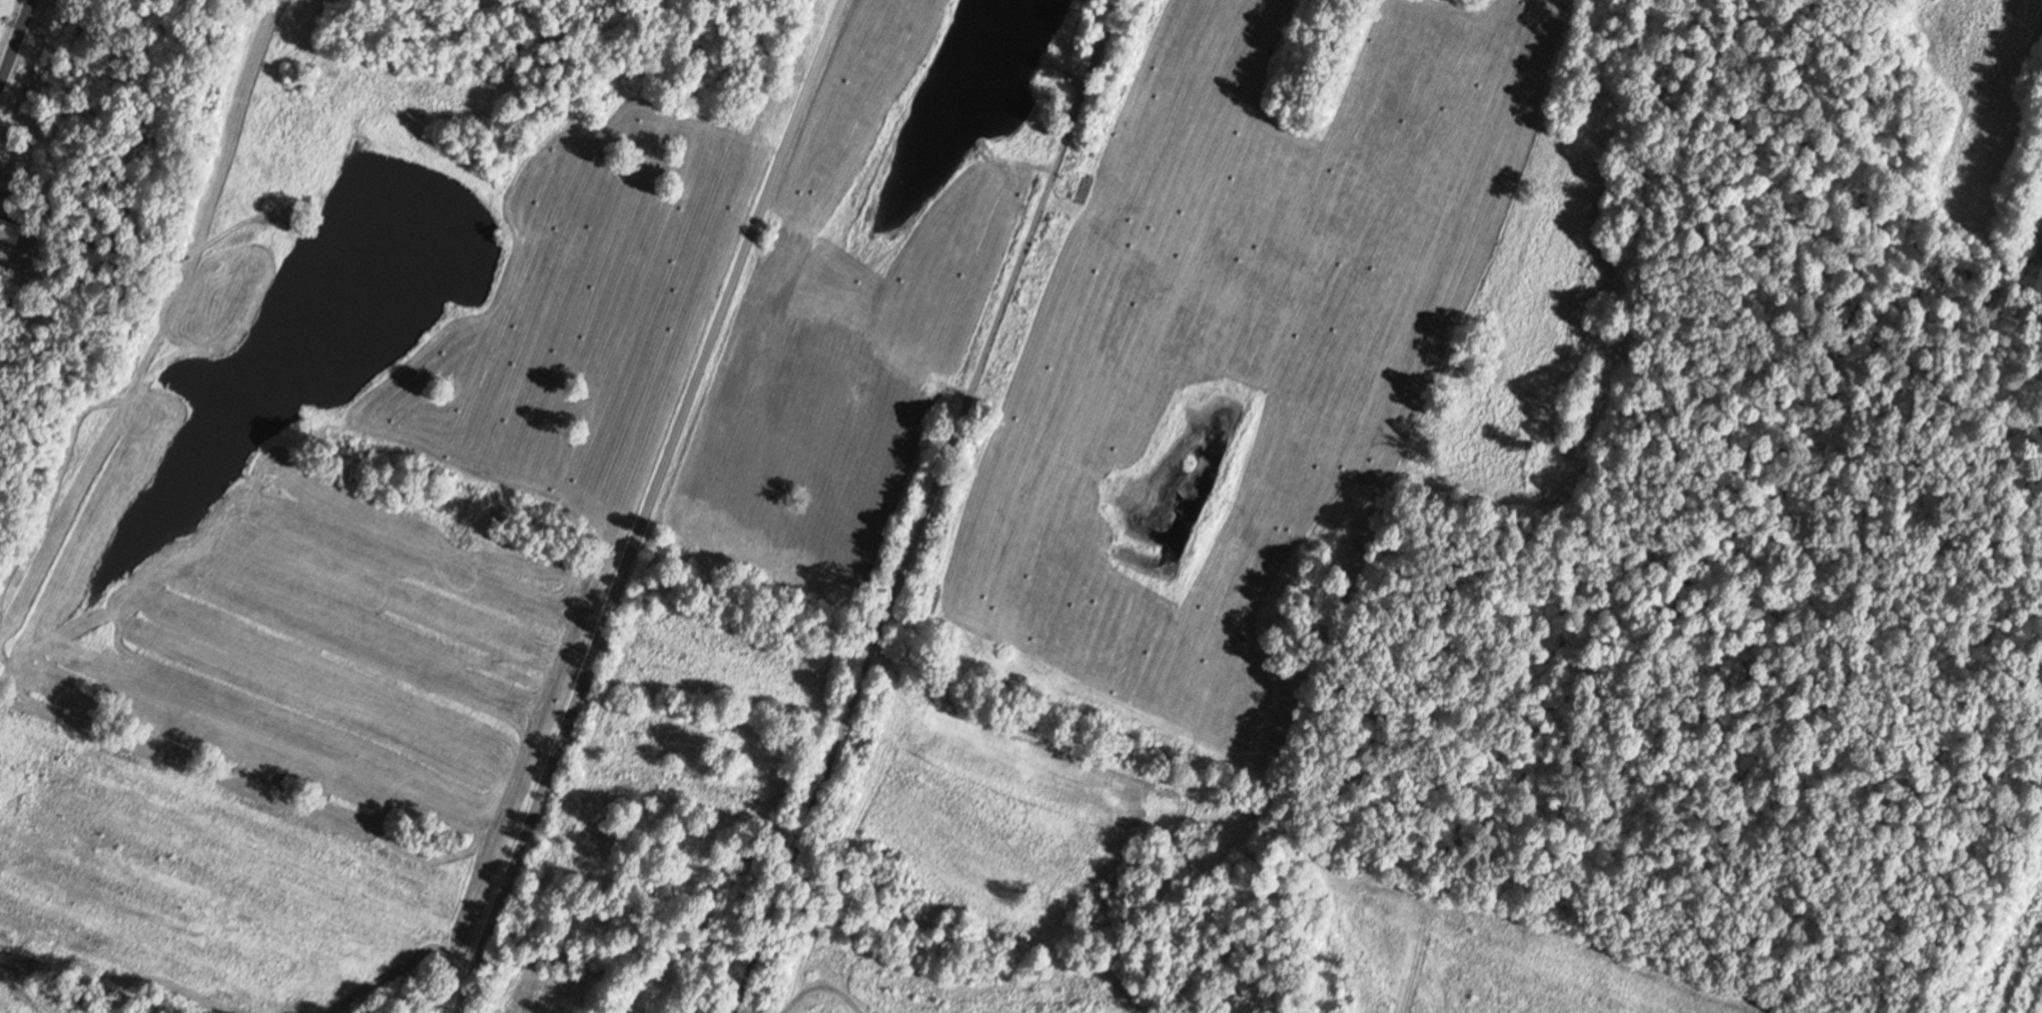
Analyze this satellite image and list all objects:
road: (17, 44)
road: (930, 504)
road: (650, 505)

